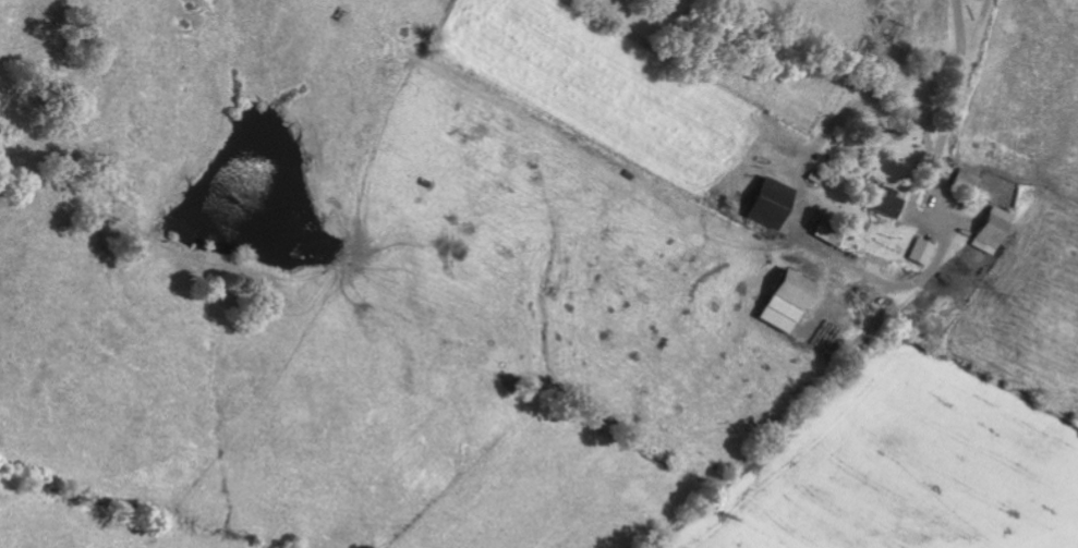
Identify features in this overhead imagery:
building: (985, 0)
building: (969, 181)
building: (888, 203)
building: (777, 204)
building: (996, 231)
building: (833, 234)
building: (924, 252)
building: (794, 302)

